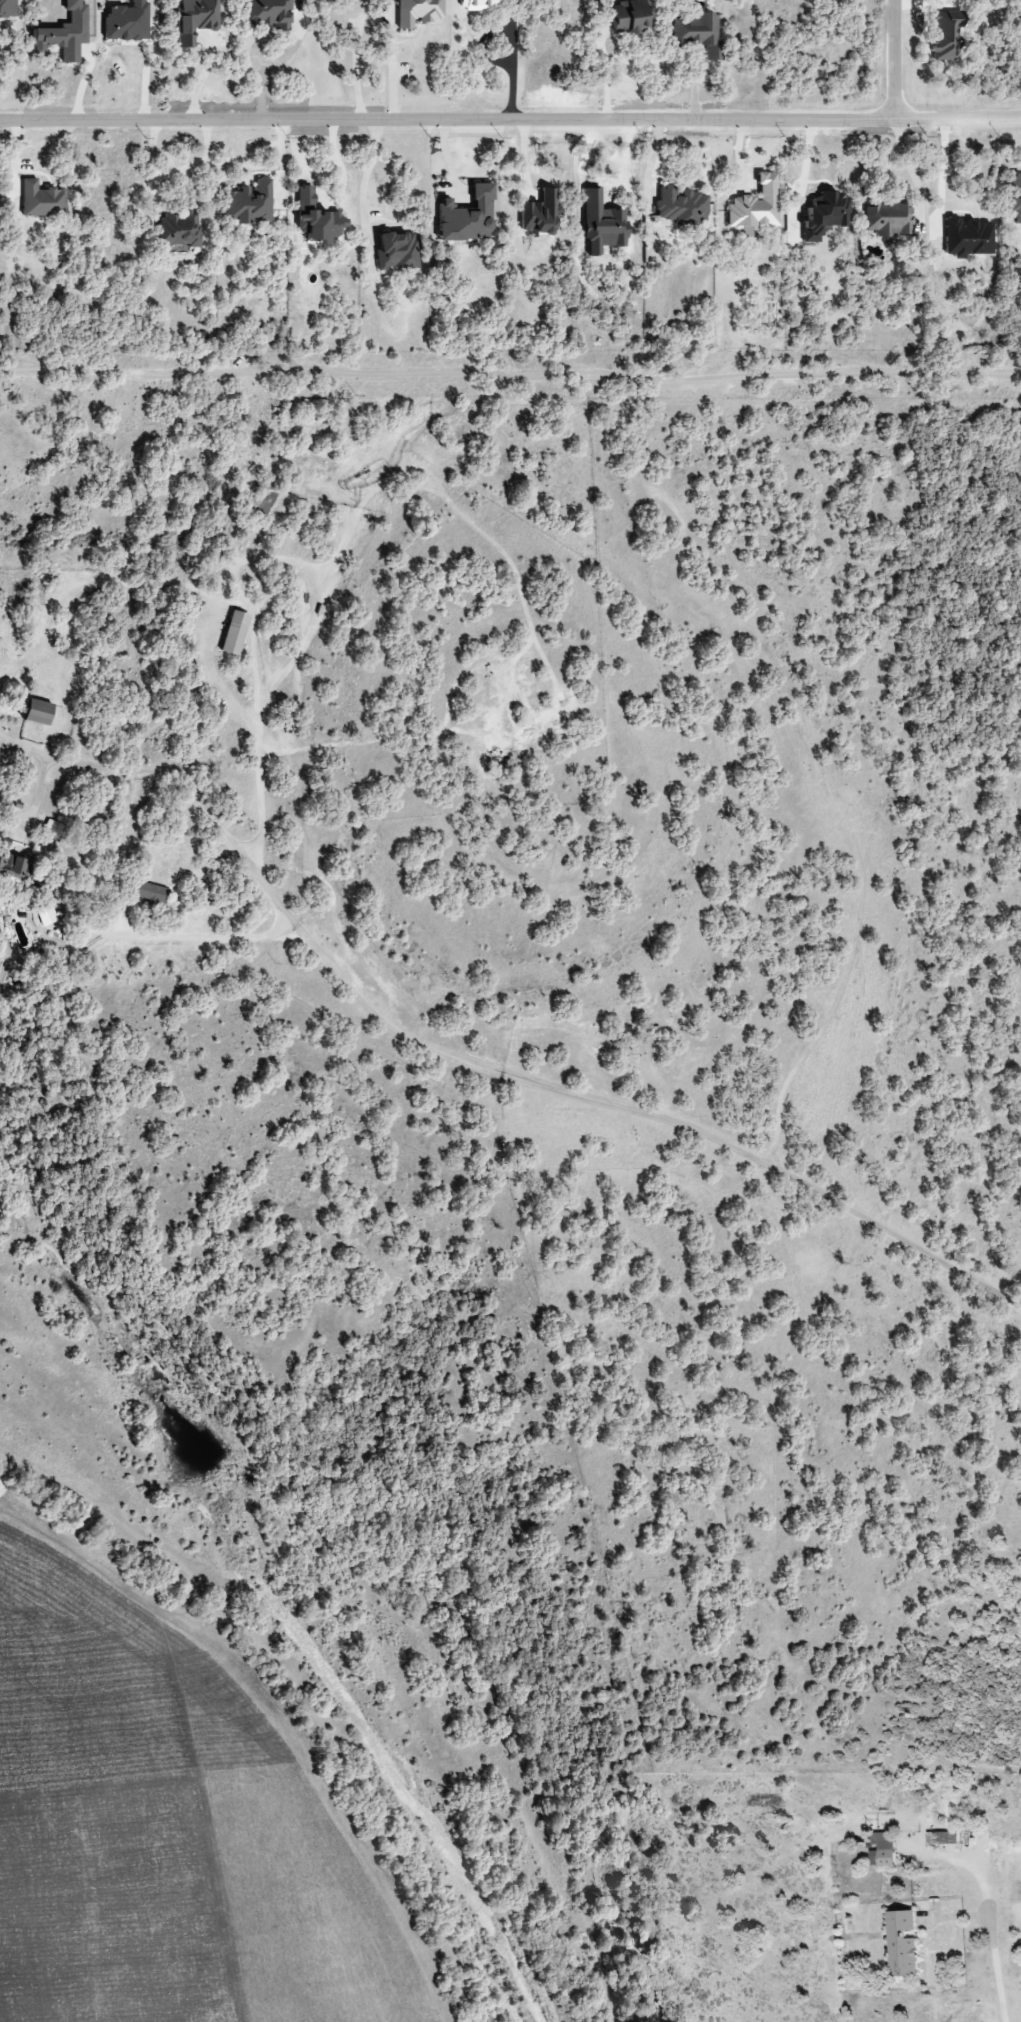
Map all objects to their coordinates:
building: (478, 5)
building: (7, 8)
building: (418, 13)
building: (268, 14)
building: (630, 18)
building: (194, 19)
building: (126, 22)
building: (696, 33)
building: (64, 34)
building: (944, 35)
road: (897, 61)
road: (512, 62)
road: (355, 76)
road: (390, 76)
road: (604, 76)
road: (200, 81)
road: (260, 89)
road: (959, 121)
road: (448, 123)
road: (909, 172)
road: (173, 173)
road: (365, 176)
building: (1014, 198)
building: (41, 201)
building: (249, 204)
building: (755, 206)
building: (680, 208)
building: (539, 214)
building: (824, 215)
building: (466, 217)
building: (316, 219)
building: (887, 220)
building: (179, 228)
building: (396, 252)
road: (510, 376)
building: (234, 633)
building: (37, 713)
road: (259, 764)
building: (14, 871)
building: (148, 893)
building: (45, 916)
road: (216, 939)
park: (624, 1040)
road: (471, 1067)
building: (940, 1838)
building: (884, 1848)
road: (973, 1867)
building: (902, 1943)
road: (993, 1968)

